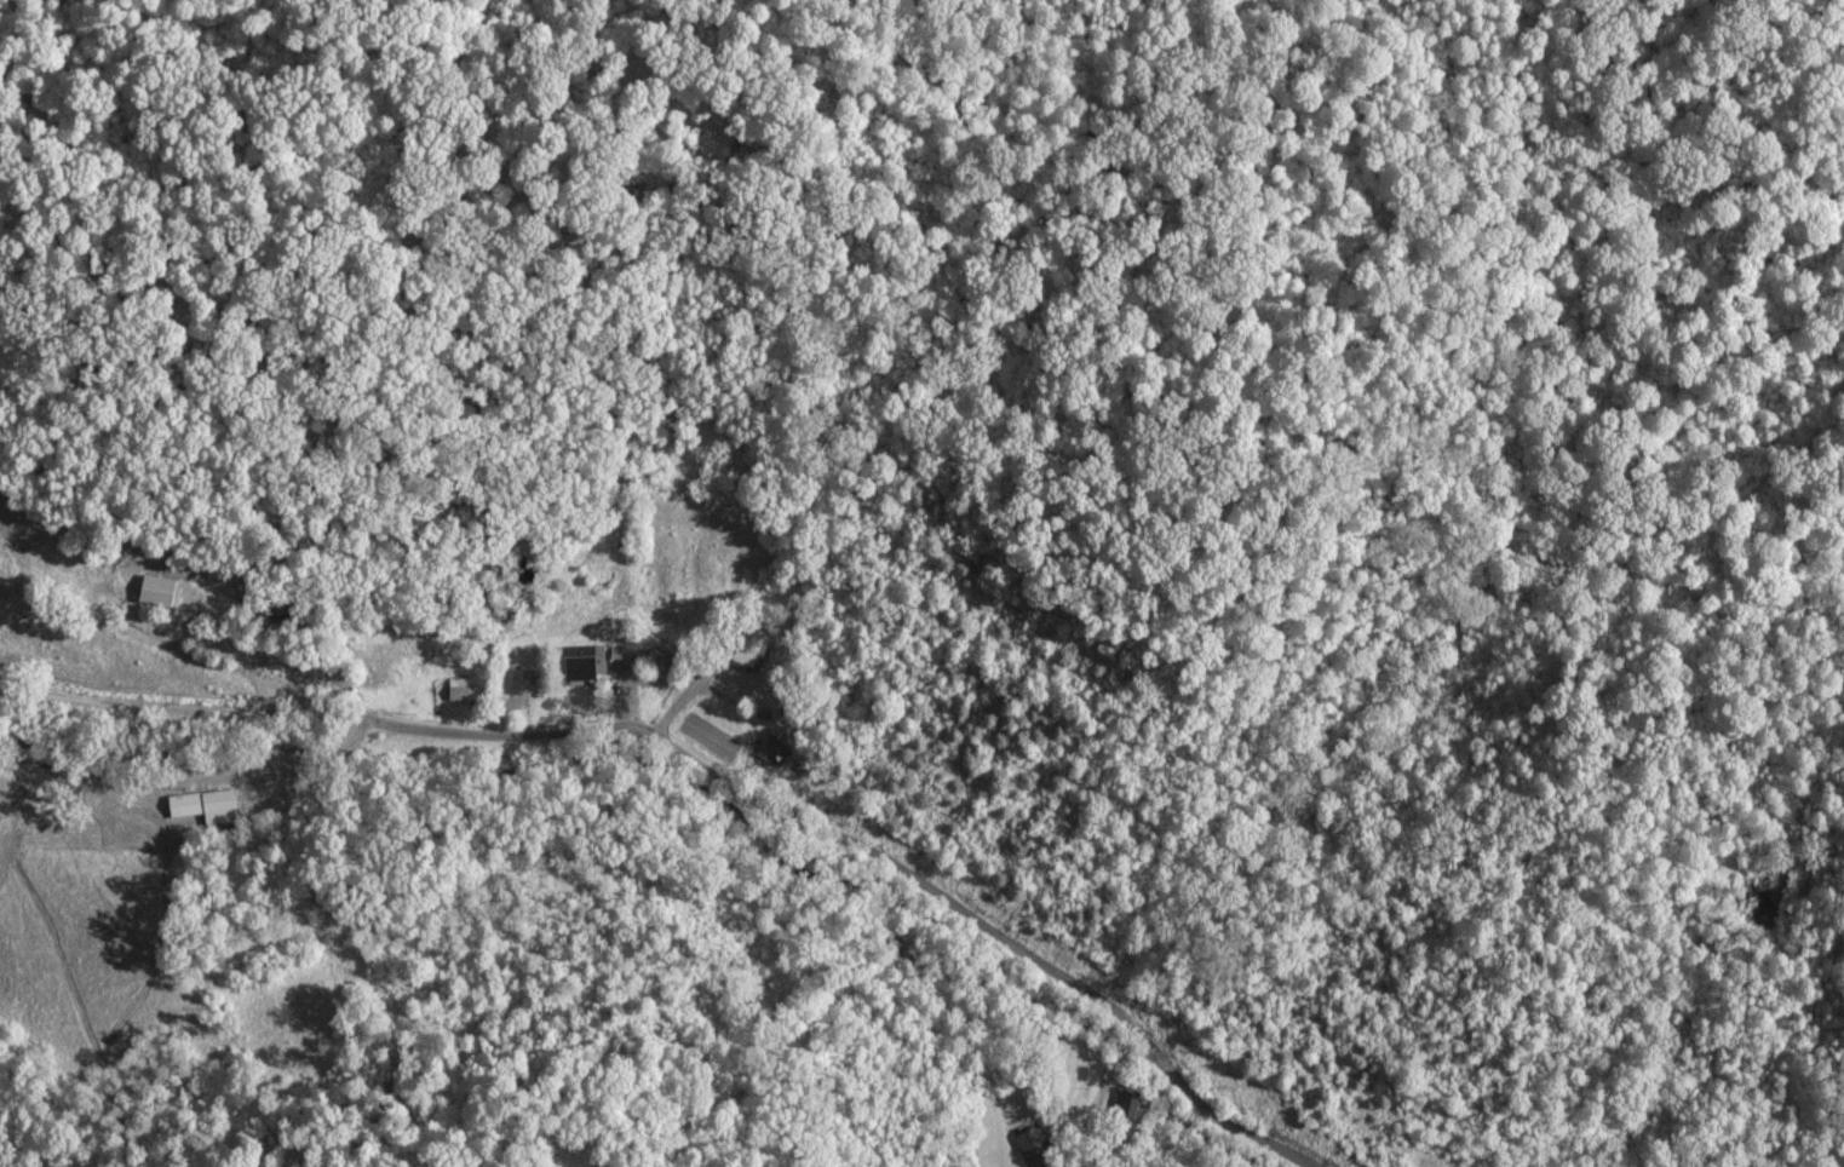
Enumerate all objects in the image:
building: (150, 590)
building: (747, 649)
building: (581, 661)
building: (518, 682)
building: (458, 690)
road: (711, 771)
building: (202, 805)
building: (1121, 1106)
building: (1032, 1148)

